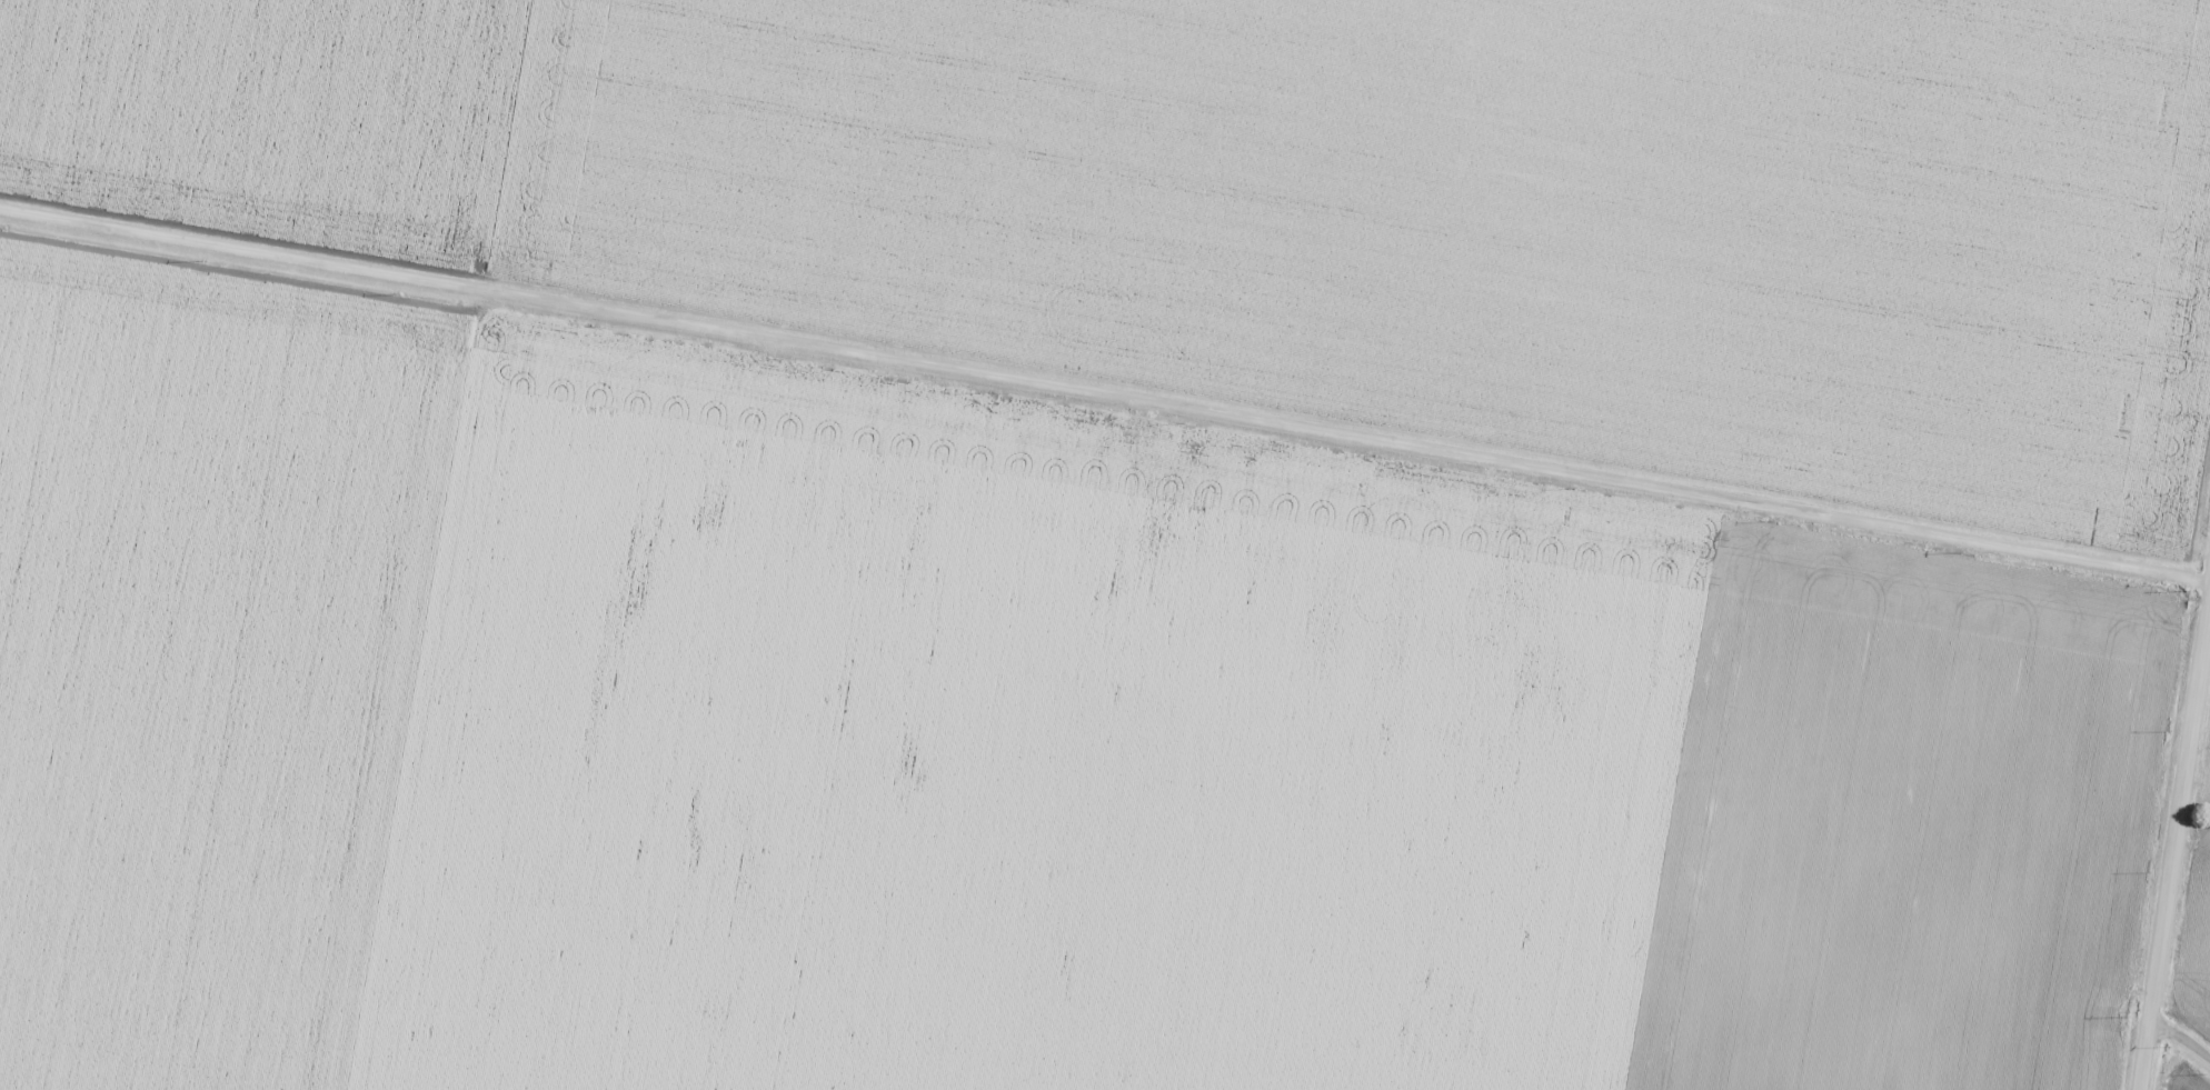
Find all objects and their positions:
road: (1105, 401)
road: (2177, 847)
road: (2181, 1052)

